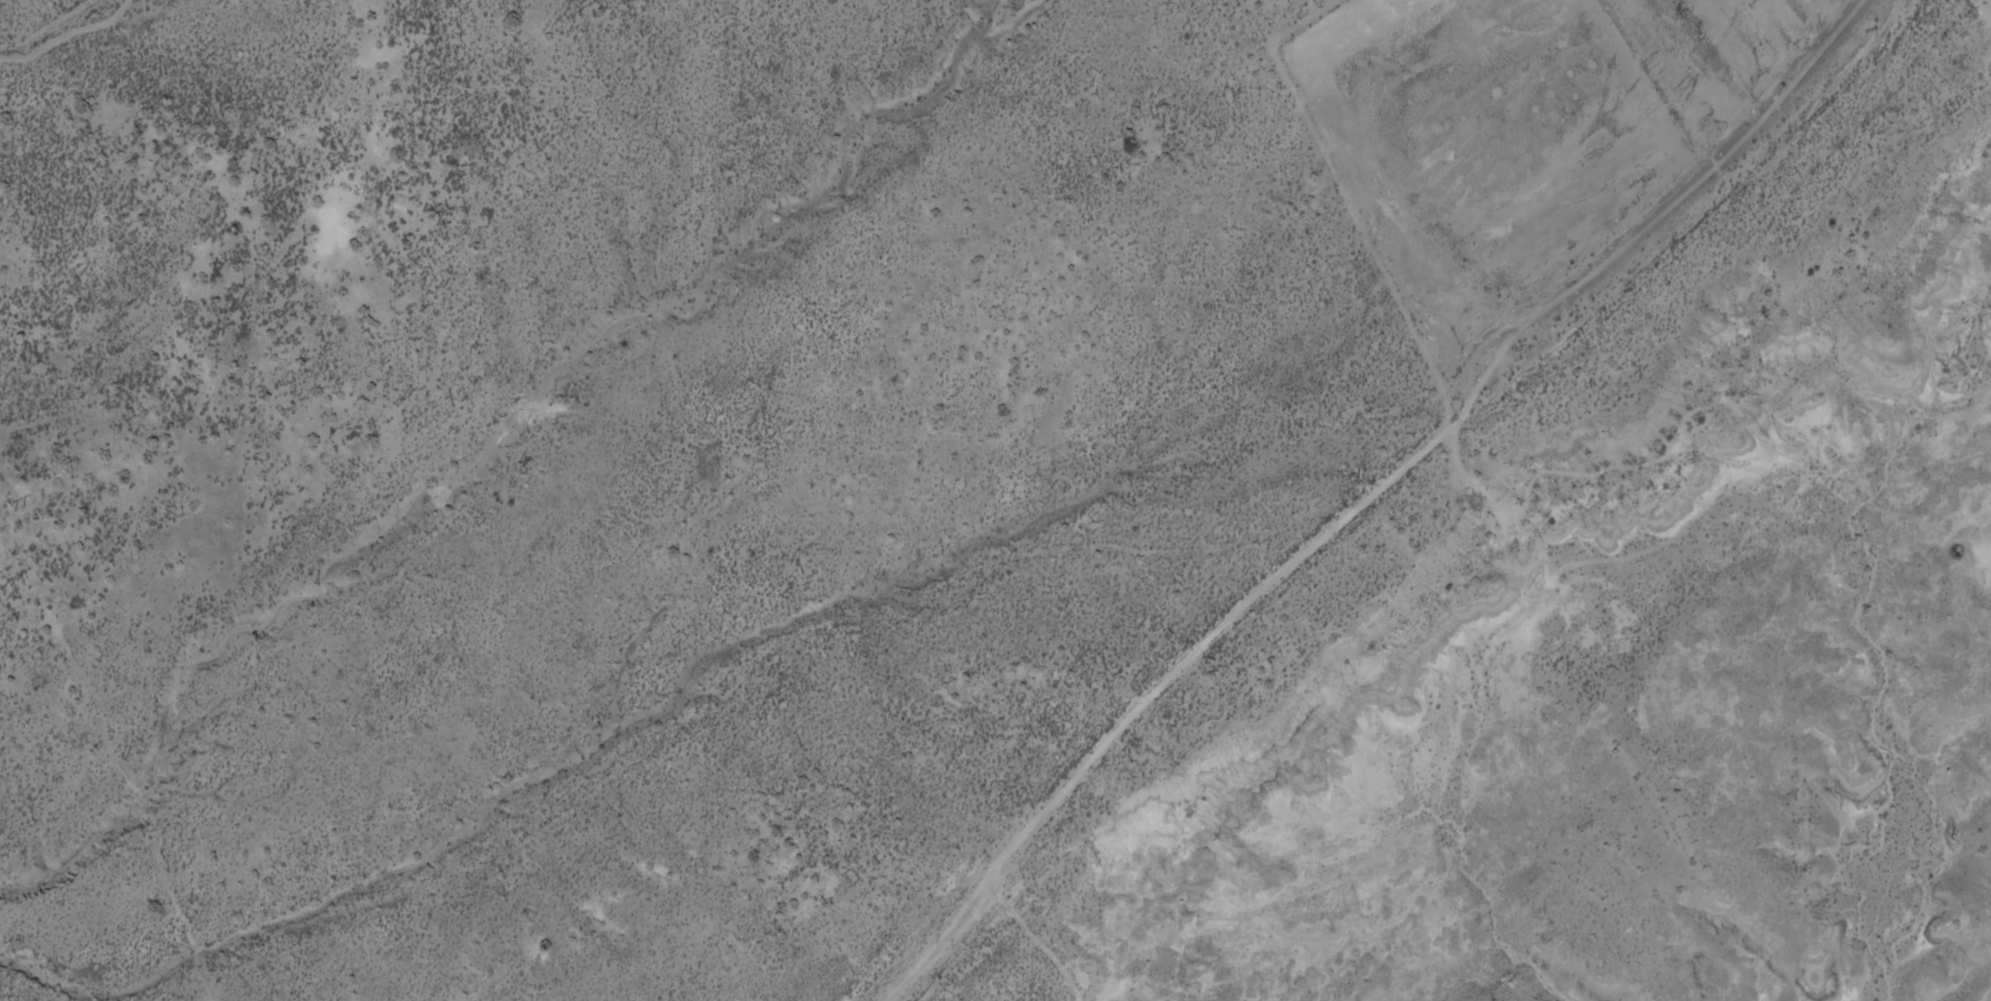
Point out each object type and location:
road: (1377, 497)
power tower: (18, 508)

